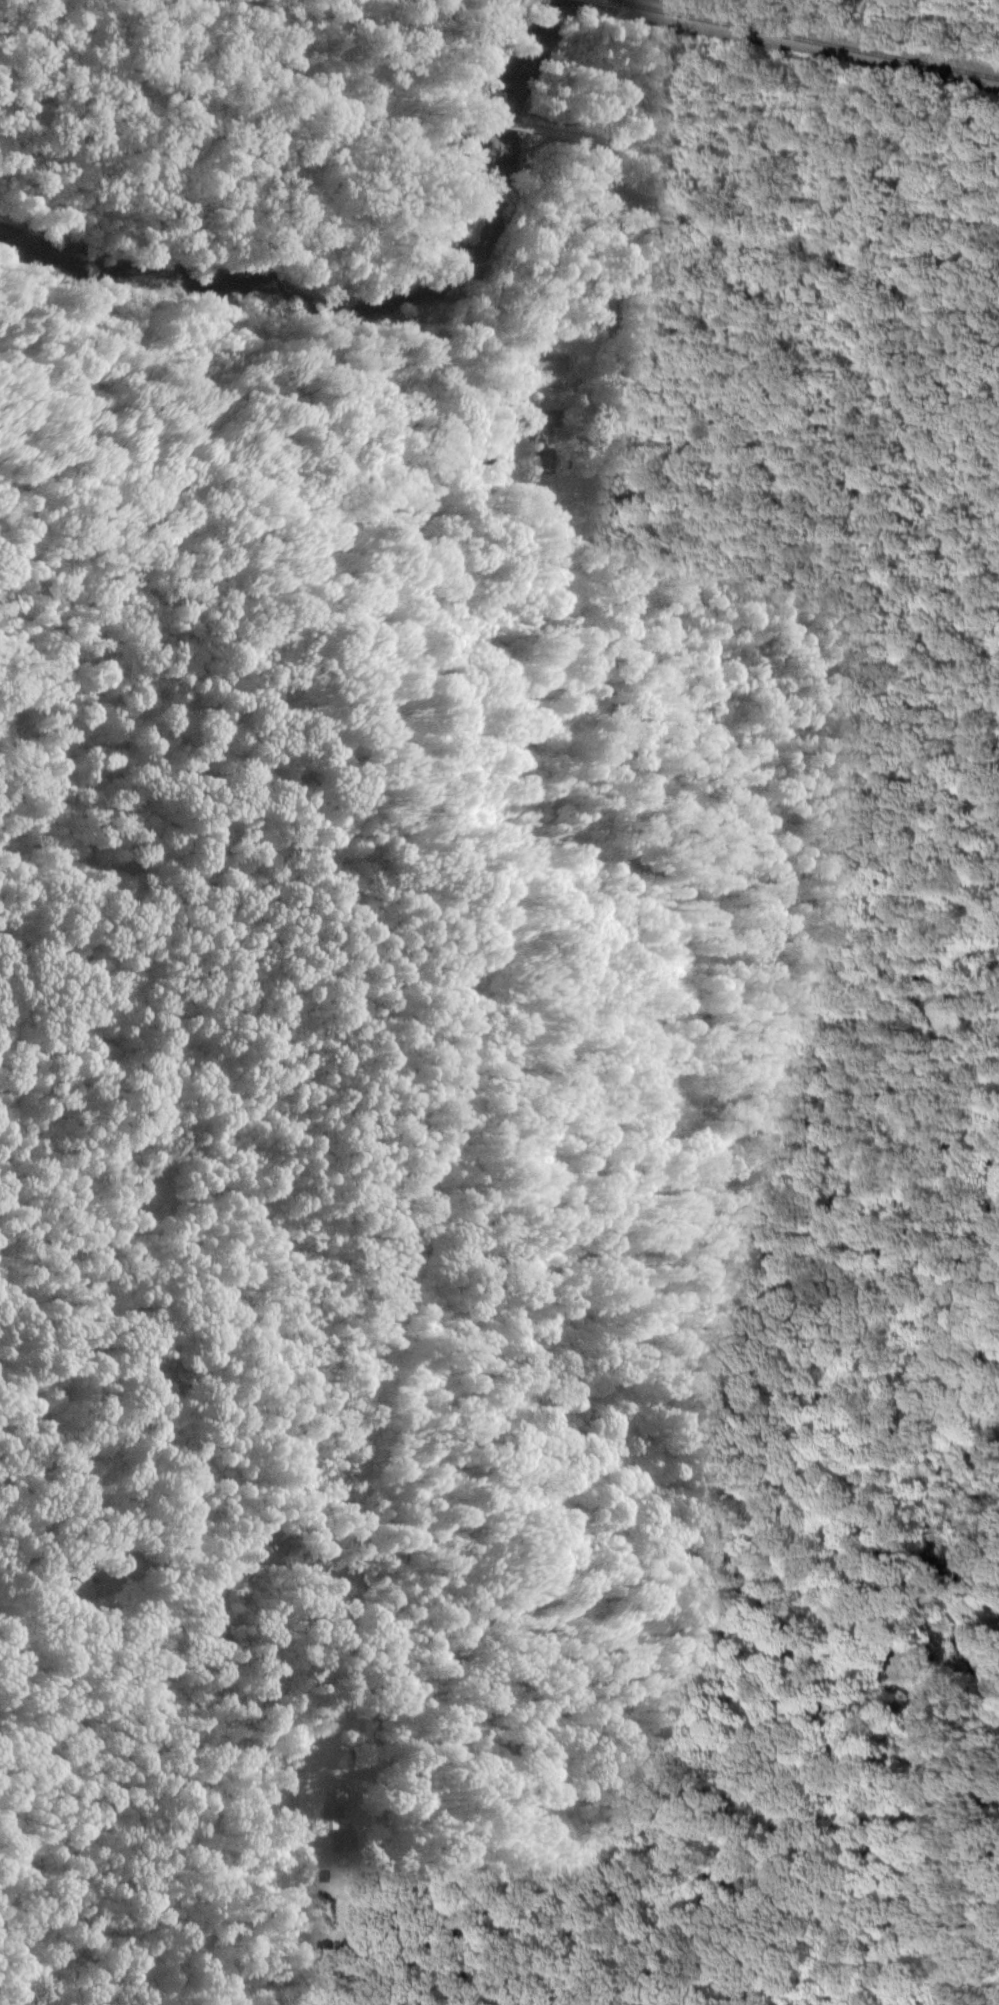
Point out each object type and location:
railway: (616, 0)
railway: (809, 40)
road: (497, 46)
road: (487, 111)
road: (514, 124)
road: (580, 141)
road: (315, 244)
river: (384, 298)
building: (537, 416)
road: (776, 422)
road: (594, 1194)

